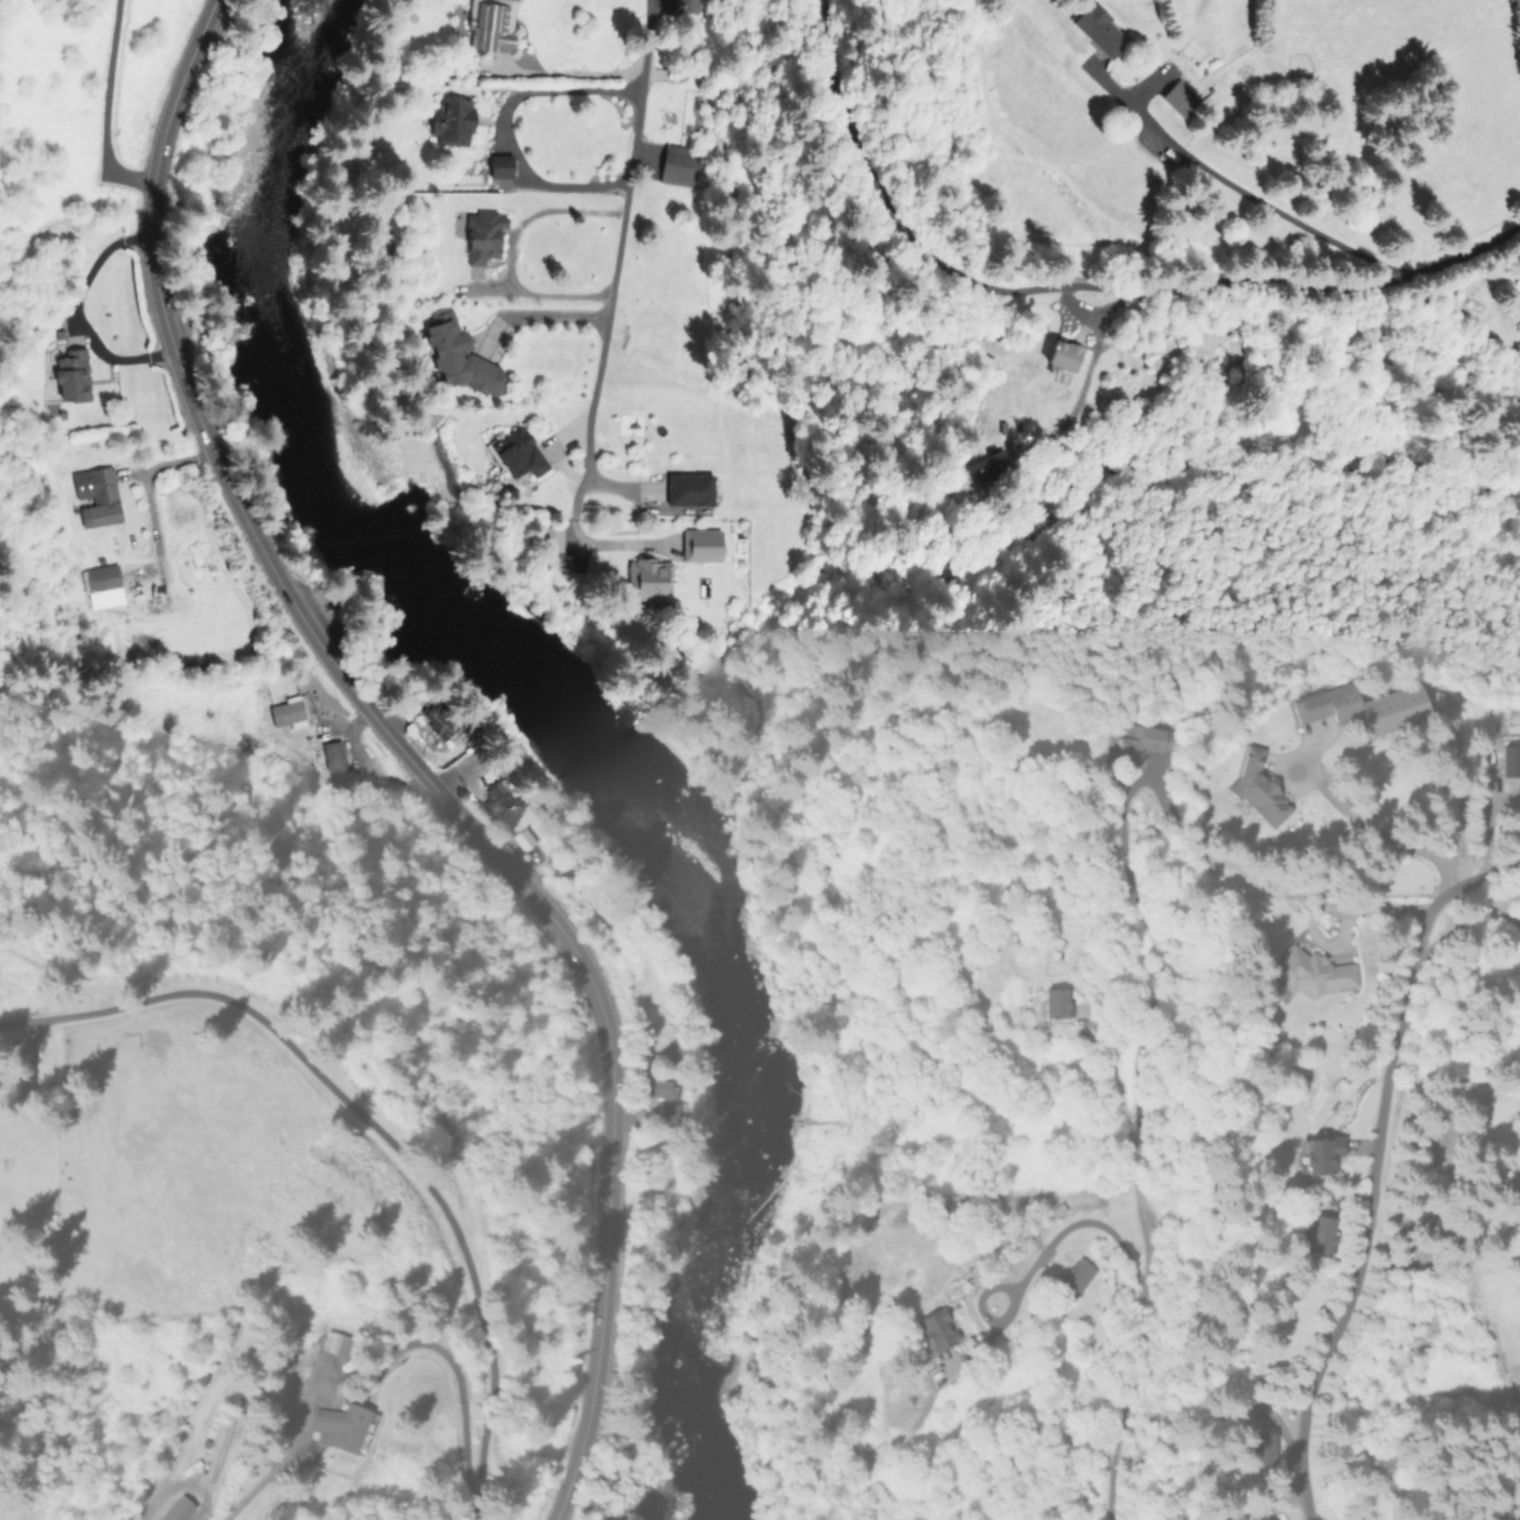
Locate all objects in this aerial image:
building: (684, 6)
building: (490, 25)
building: (1097, 28)
building: (1178, 97)
road: (106, 112)
building: (452, 120)
road: (507, 124)
building: (500, 166)
building: (678, 166)
road: (1259, 202)
building: (483, 236)
road: (511, 250)
road: (616, 257)
road: (1083, 284)
road: (1099, 308)
road: (75, 313)
road: (548, 315)
building: (1063, 354)
building: (460, 360)
building: (72, 375)
road: (1080, 388)
building: (518, 454)
road: (170, 463)
building: (985, 467)
building: (689, 489)
building: (96, 496)
building: (701, 545)
building: (649, 581)
building: (102, 582)
building: (1363, 707)
building: (288, 714)
building: (437, 721)
river: (577, 738)
building: (1141, 742)
road: (418, 754)
building: (334, 757)
building: (1510, 760)
building: (1257, 789)
road: (1376, 832)
building: (1314, 972)
road: (1146, 992)
building: (1056, 1001)
road: (1396, 1036)
building: (24, 1070)
building: (666, 1103)
road: (375, 1125)
building: (1321, 1154)
road: (1068, 1227)
building: (1319, 1233)
building: (1075, 1277)
building: (935, 1330)
building: (334, 1343)
road: (457, 1381)
road: (1310, 1392)
road: (1132, 1398)
building: (341, 1426)
building: (320, 1436)
building: (1261, 1449)
building: (647, 1505)
building: (177, 1510)

